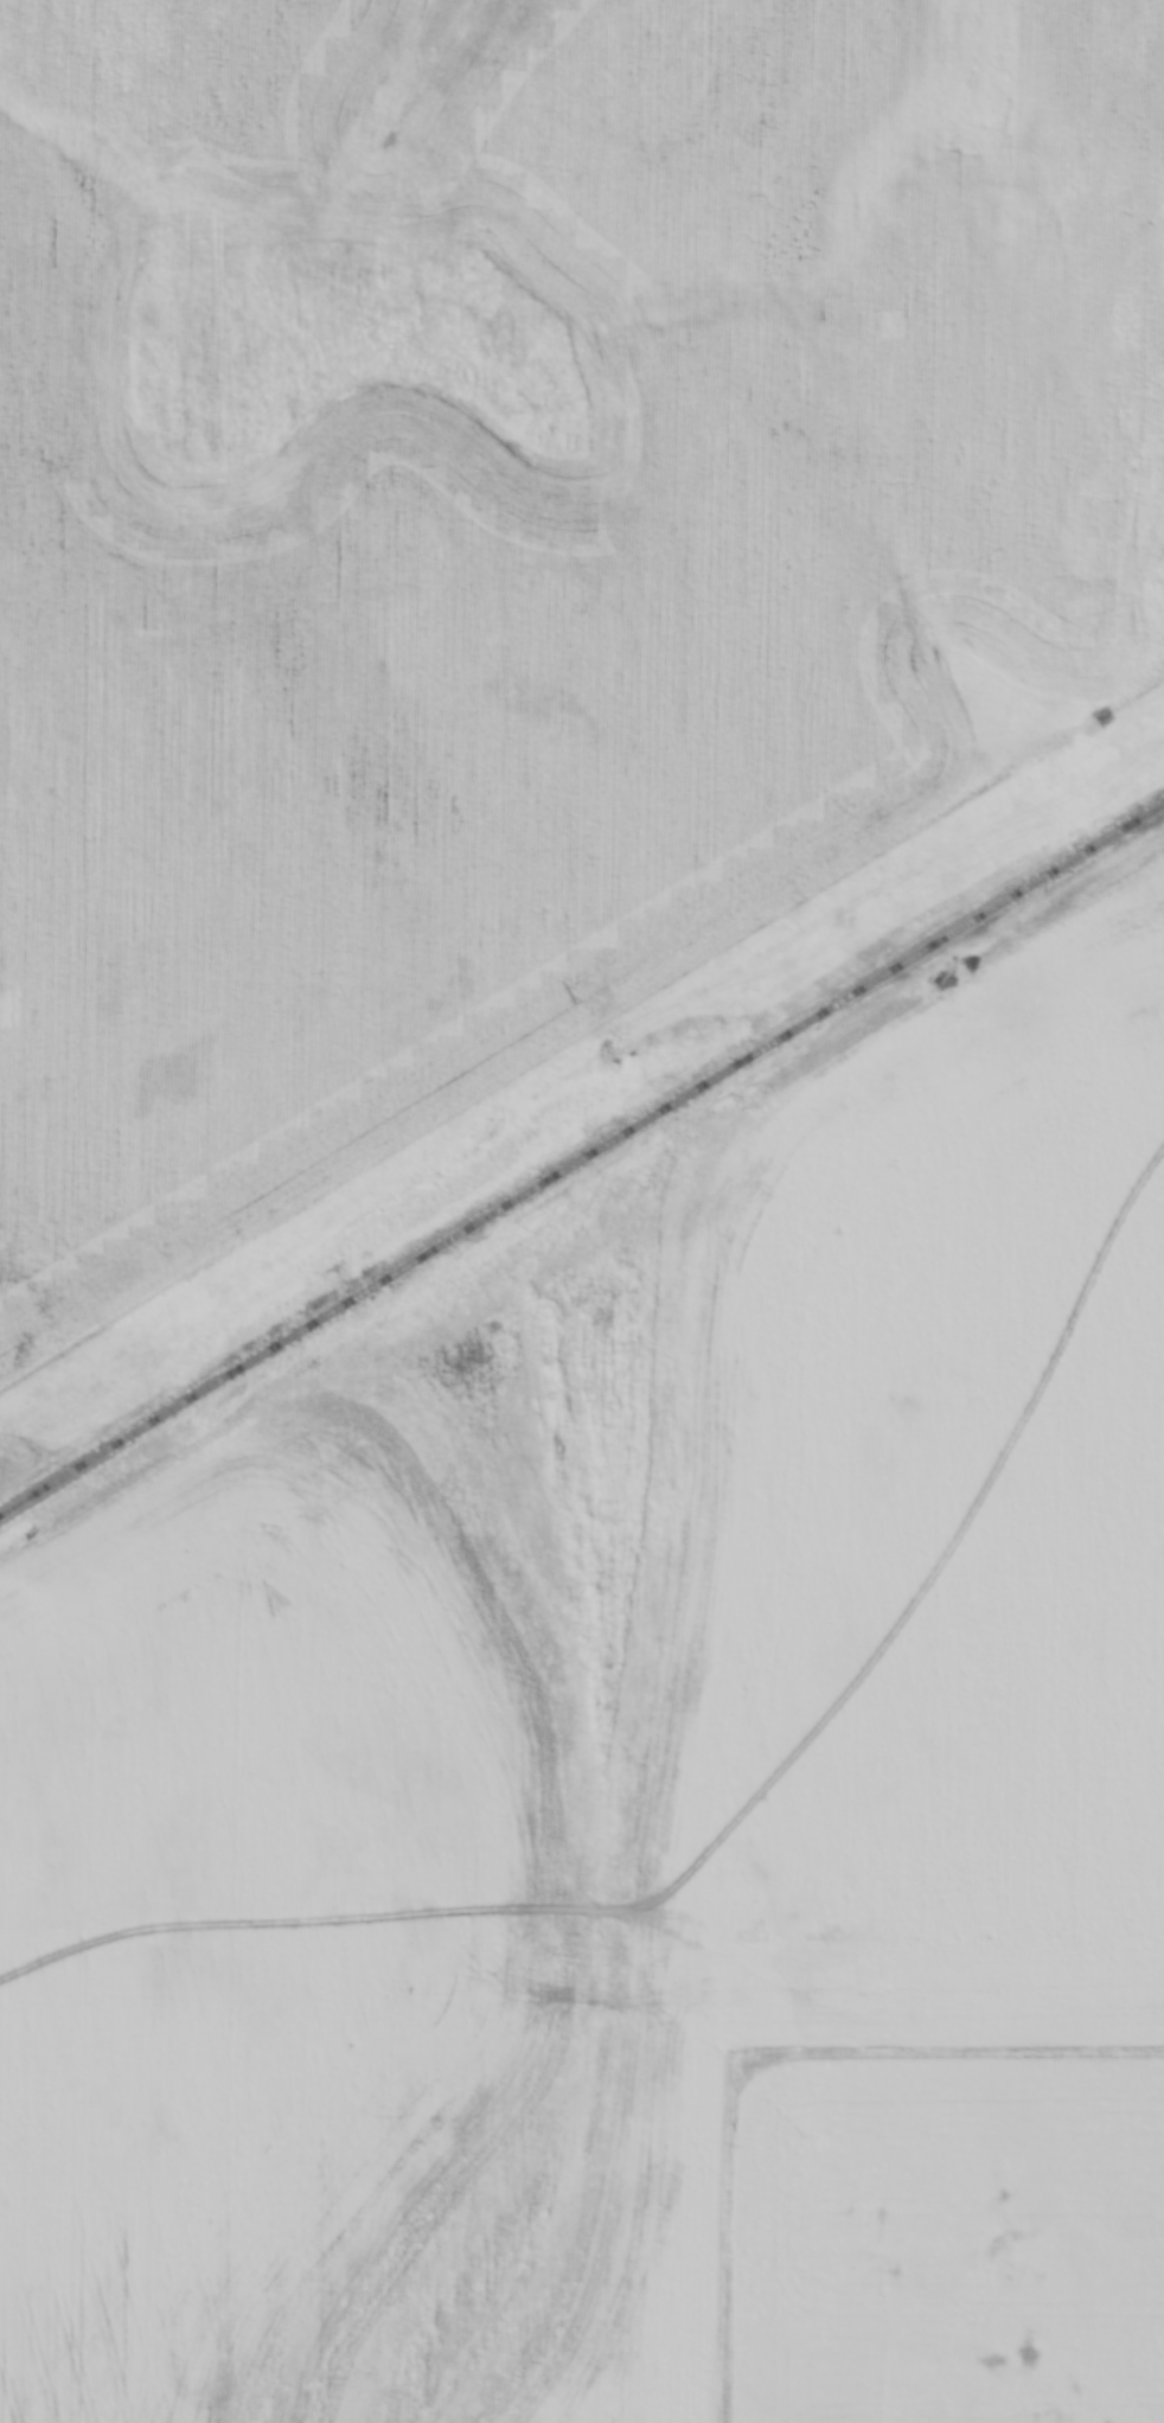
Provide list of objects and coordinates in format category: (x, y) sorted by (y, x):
railway: (582, 1164)

